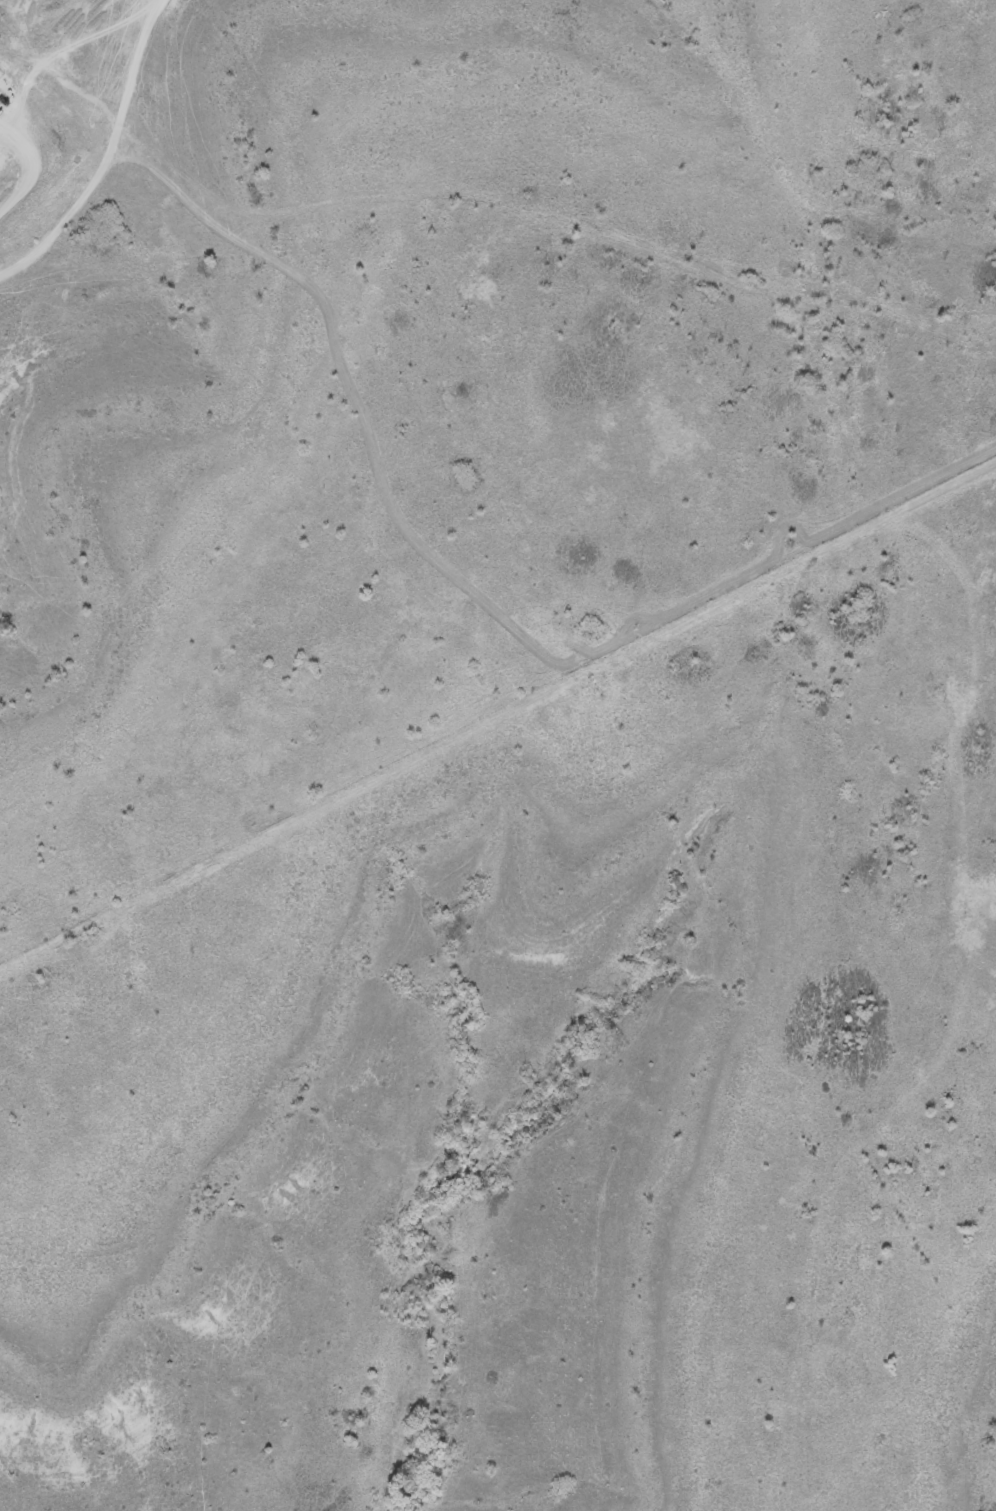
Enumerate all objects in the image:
road: (107, 152)
road: (19, 184)

